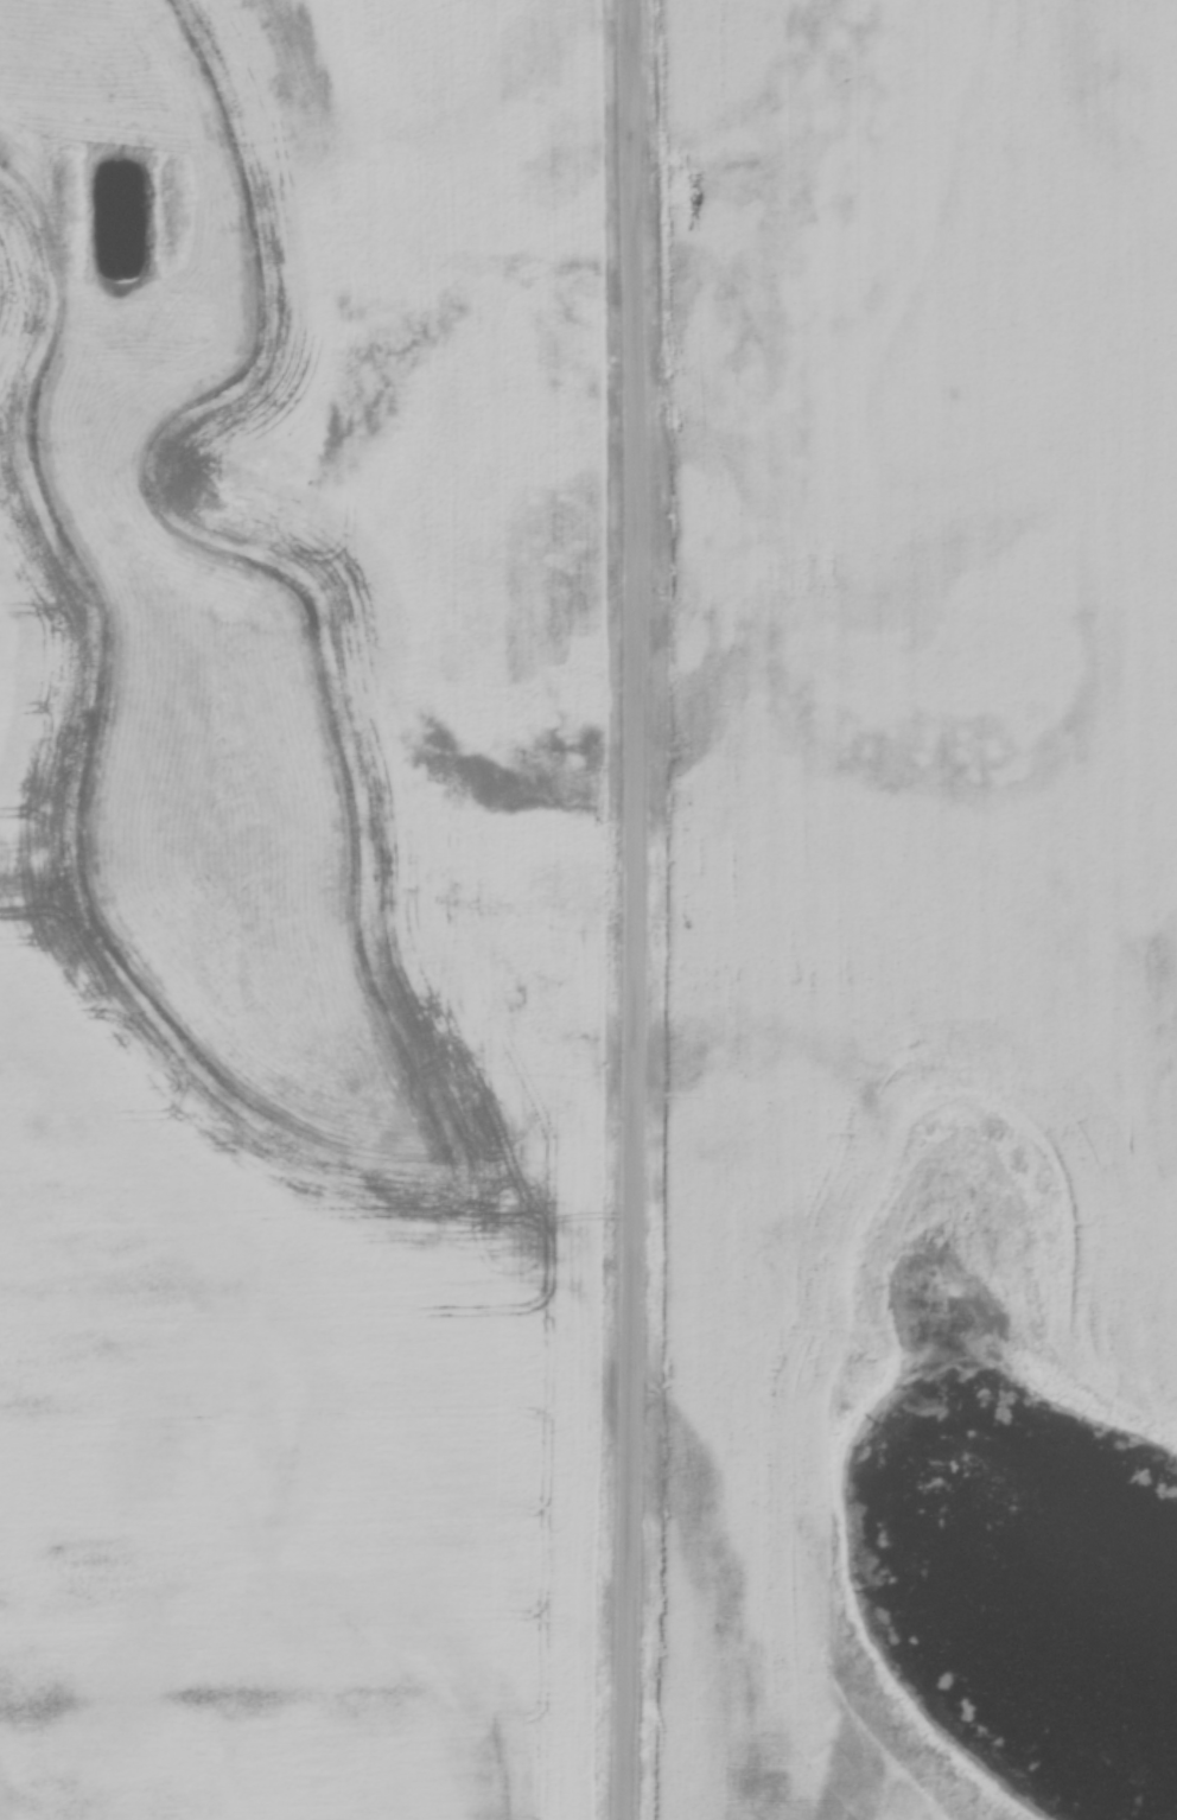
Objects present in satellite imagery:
road: (619, 910)

